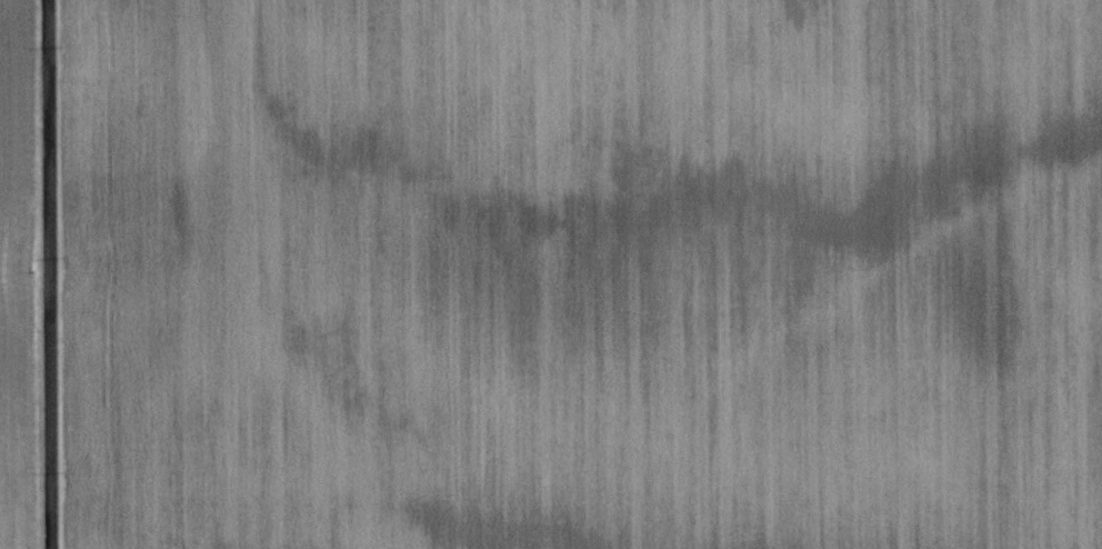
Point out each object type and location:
road: (48, 274)

